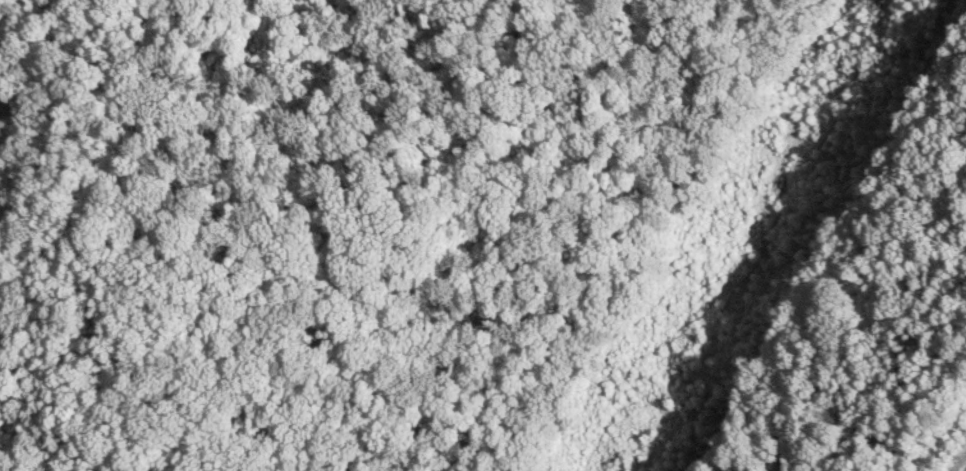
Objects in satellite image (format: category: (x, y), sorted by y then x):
landfill: (944, 434)

